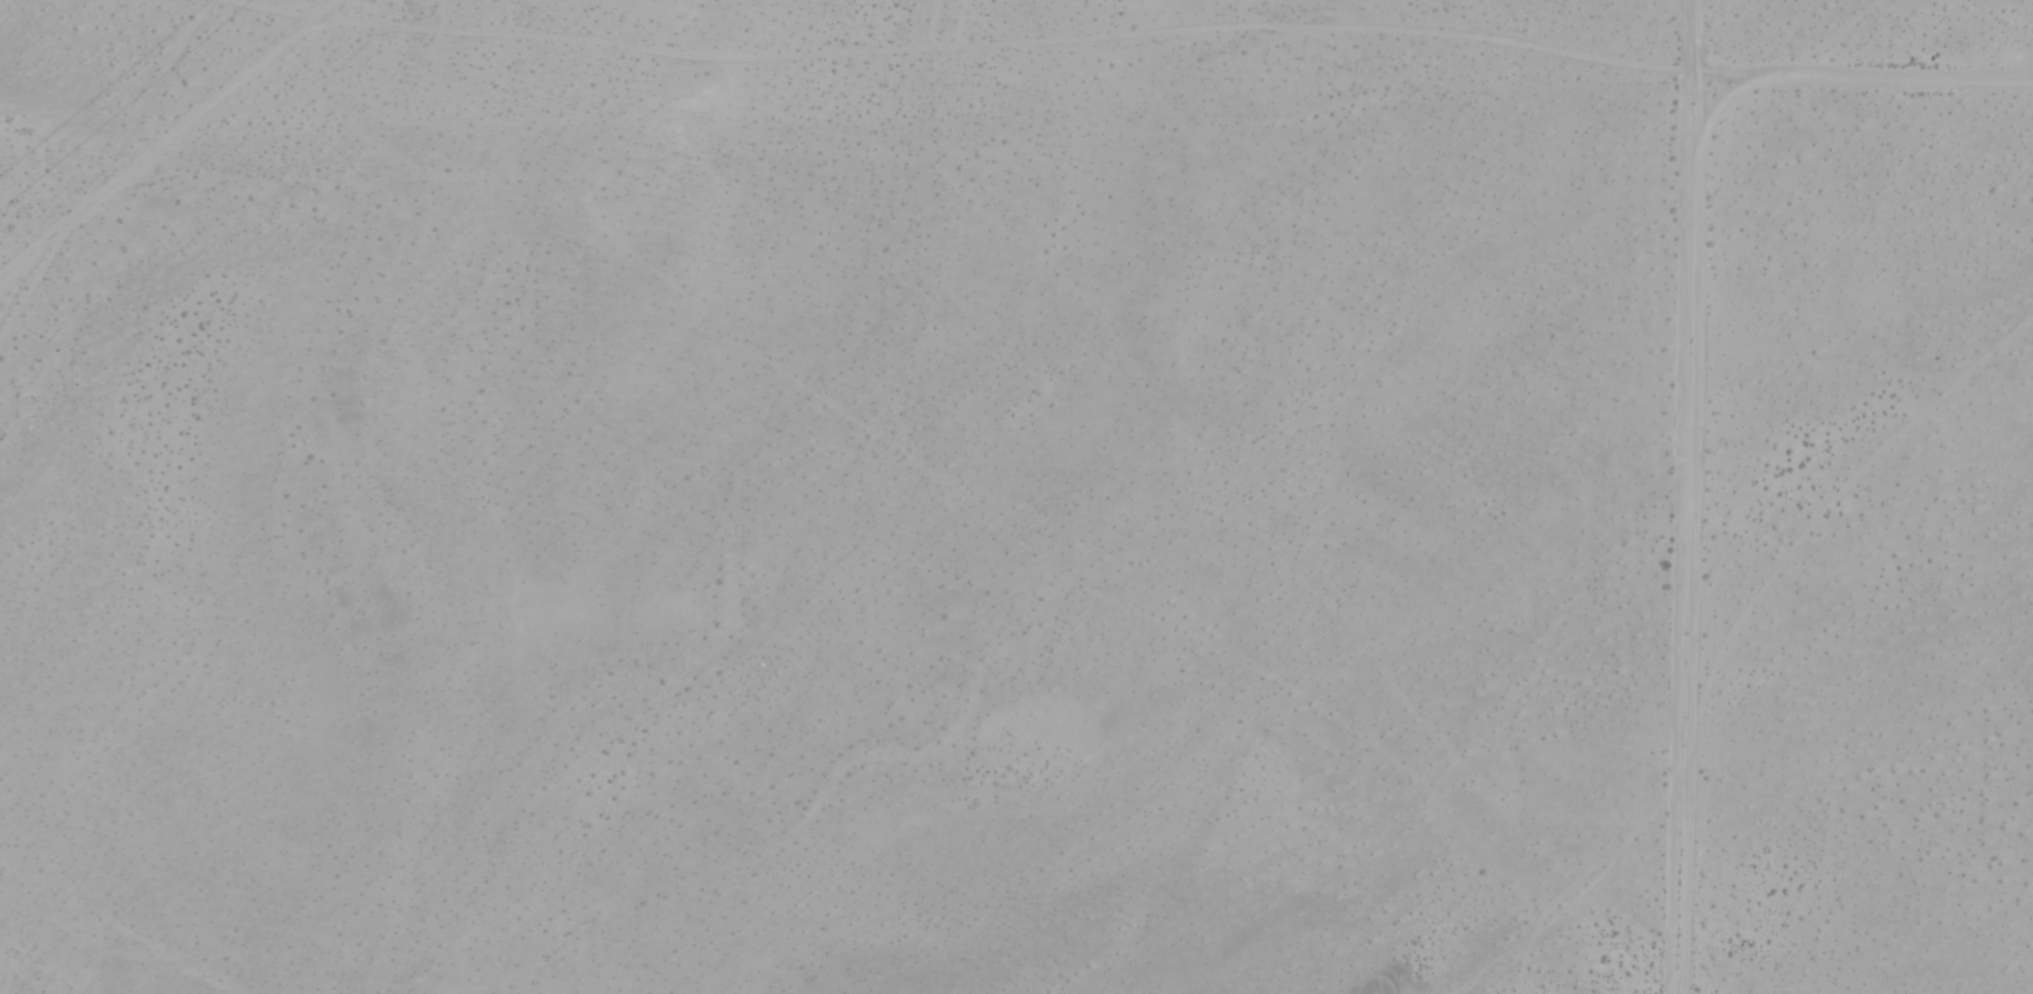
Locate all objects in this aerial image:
road: (1866, 76)
road: (1691, 497)

